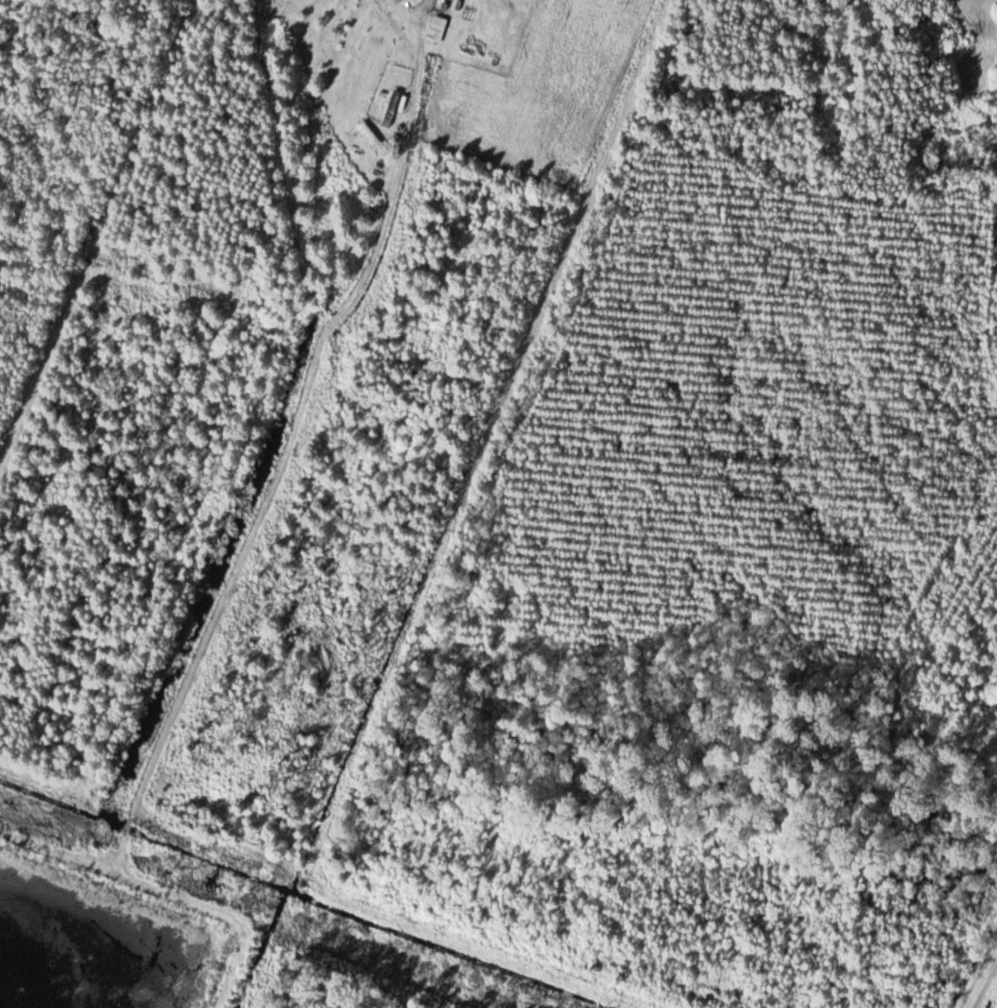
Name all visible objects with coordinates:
building: (415, 2)
building: (436, 29)
road: (289, 438)
power tower: (250, 895)
road: (983, 978)

